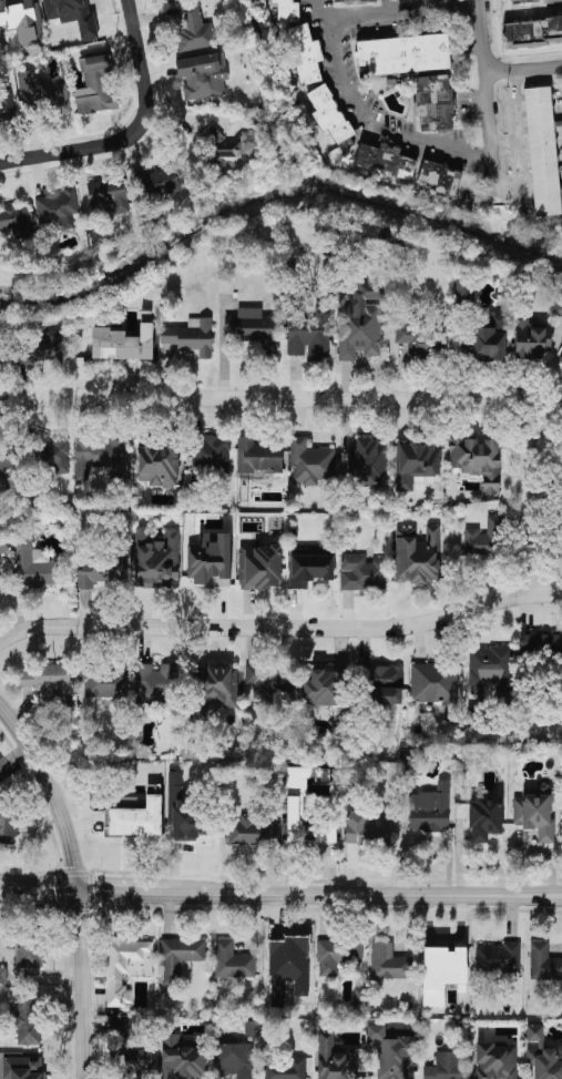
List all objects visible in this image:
building: (173, 0)
building: (354, 0)
building: (524, 1)
building: (287, 10)
building: (22, 20)
building: (194, 30)
building: (533, 32)
building: (305, 53)
building: (403, 53)
road: (143, 63)
road: (339, 63)
road: (523, 68)
building: (203, 75)
building: (94, 85)
road: (486, 90)
building: (42, 95)
building: (435, 101)
building: (7, 105)
building: (329, 113)
building: (542, 151)
road: (74, 153)
building: (235, 153)
building: (385, 160)
building: (440, 176)
building: (164, 180)
building: (108, 196)
building: (58, 210)
building: (16, 221)
building: (463, 291)
building: (558, 307)
building: (249, 323)
building: (310, 335)
building: (191, 336)
building: (532, 339)
building: (123, 343)
building: (489, 345)
building: (41, 349)
building: (0, 355)
building: (561, 362)
road: (352, 398)
building: (211, 451)
building: (98, 454)
building: (55, 455)
building: (258, 456)
building: (478, 460)
building: (310, 462)
building: (416, 462)
building: (160, 464)
building: (369, 464)
building: (7, 465)
building: (483, 538)
building: (417, 556)
building: (157, 559)
building: (34, 561)
building: (259, 567)
building: (310, 567)
building: (100, 571)
building: (364, 572)
road: (280, 624)
building: (540, 641)
building: (489, 666)
building: (48, 681)
building: (155, 681)
building: (265, 681)
building: (104, 682)
building: (385, 682)
building: (436, 685)
building: (323, 686)
building: (212, 690)
building: (0, 771)
road: (55, 791)
building: (298, 797)
building: (430, 808)
building: (183, 811)
building: (534, 811)
building: (484, 817)
building: (8, 824)
building: (367, 828)
building: (254, 831)
building: (325, 831)
road: (42, 887)
traffic signals: (85, 894)
road: (129, 895)
road: (366, 899)
building: (29, 953)
building: (337, 954)
building: (178, 956)
building: (498, 957)
building: (232, 960)
building: (388, 961)
building: (543, 963)
building: (125, 967)
building: (441, 971)
building: (3, 975)
road: (84, 986)
building: (27, 1019)
building: (252, 1028)
building: (392, 1053)
building: (543, 1056)
building: (181, 1058)
building: (335, 1058)
building: (234, 1059)
building: (495, 1060)
building: (448, 1066)
building: (22, 1067)
building: (284, 1067)

